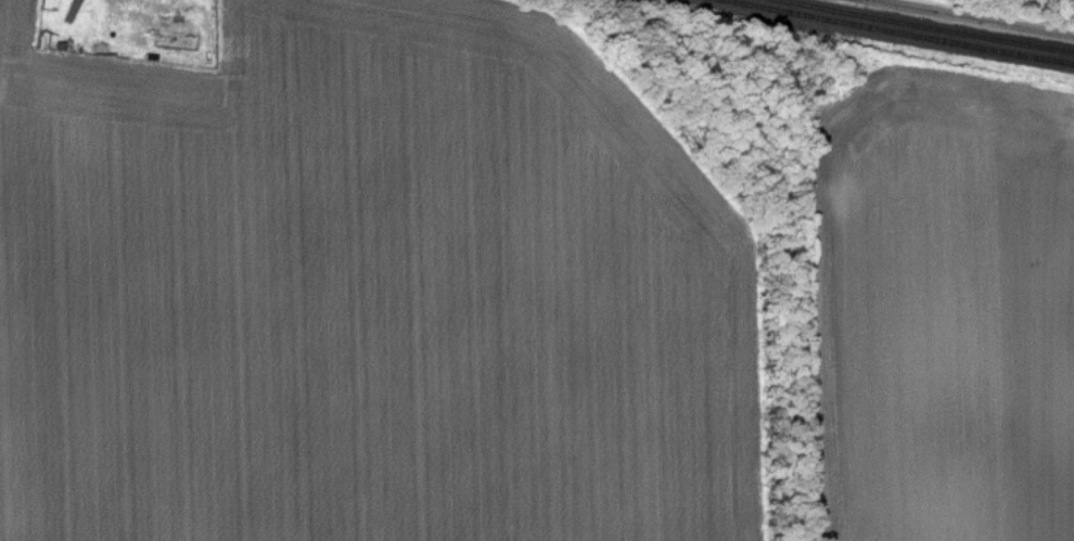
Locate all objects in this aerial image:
road: (976, 17)
railway: (923, 25)
railway: (899, 31)

